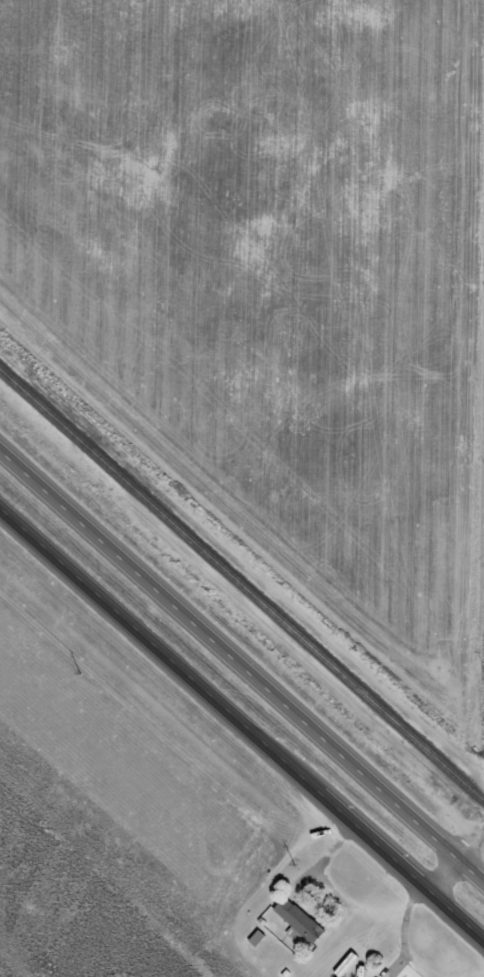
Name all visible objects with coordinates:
railway: (242, 586)
road: (242, 667)
road: (242, 726)
road: (470, 845)
road: (442, 876)
building: (299, 923)
road: (407, 959)

